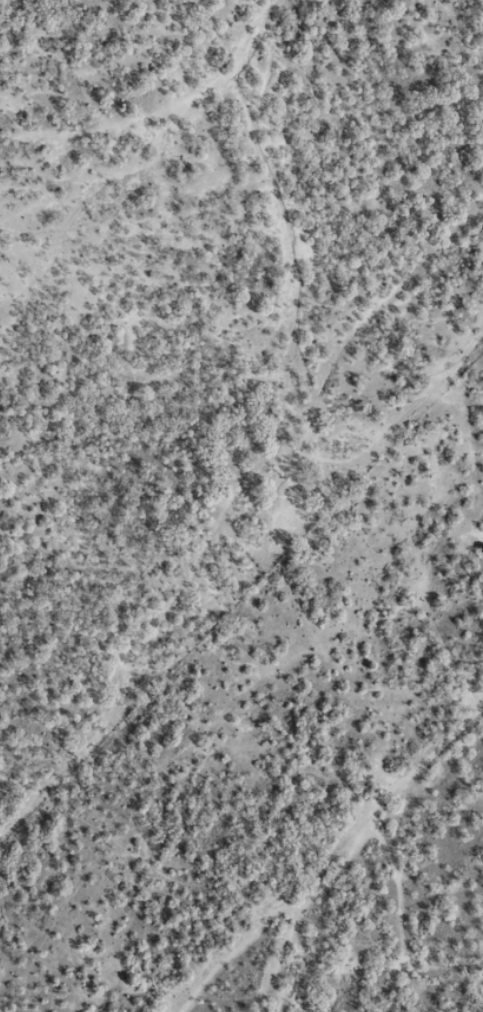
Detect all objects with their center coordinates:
road: (147, 116)

